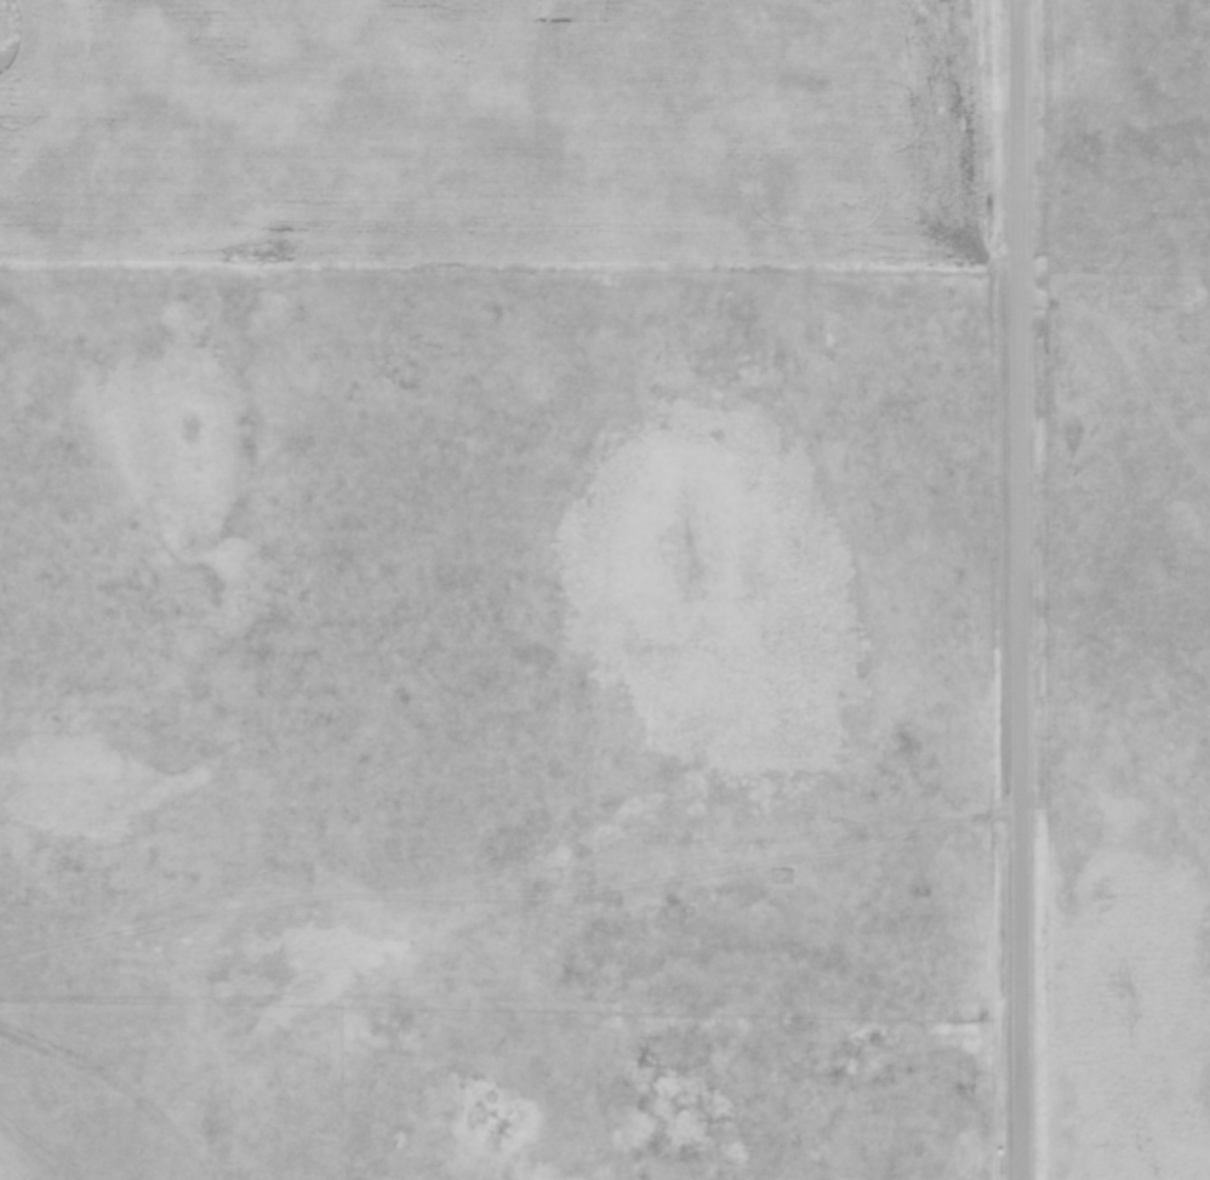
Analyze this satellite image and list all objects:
road: (1020, 589)

